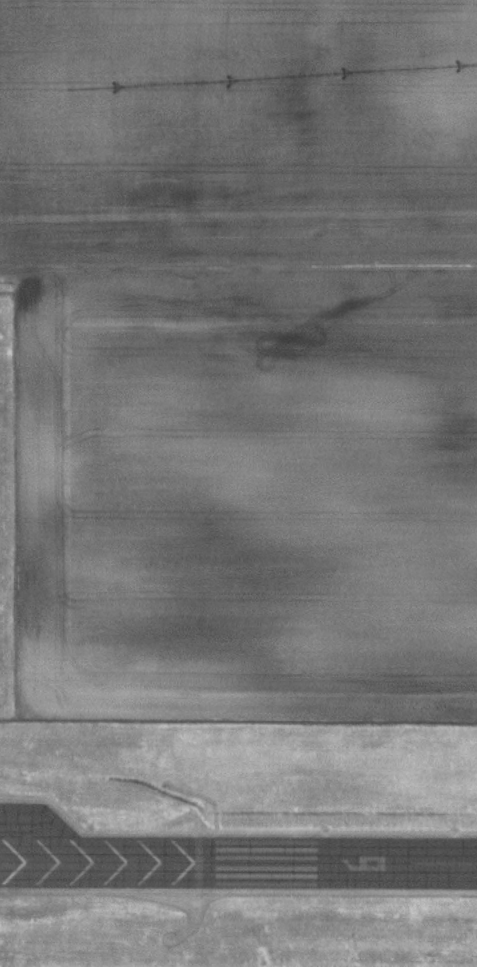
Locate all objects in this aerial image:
airport runway: (241, 861)

